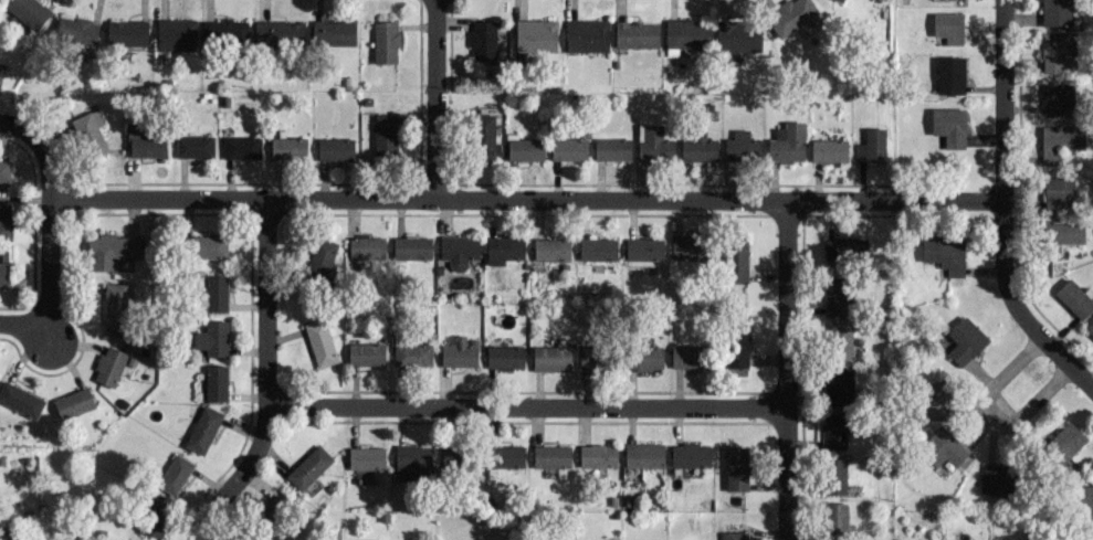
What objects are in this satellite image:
building: (841, 0)
building: (28, 11)
building: (1055, 12)
building: (794, 18)
building: (948, 27)
building: (76, 30)
building: (127, 32)
building: (278, 32)
building: (333, 32)
building: (223, 33)
building: (176, 34)
building: (535, 34)
building: (635, 34)
building: (685, 34)
building: (586, 35)
building: (736, 38)
building: (385, 41)
building: (482, 41)
building: (1057, 51)
building: (949, 74)
road: (434, 98)
building: (1059, 98)
building: (949, 126)
building: (90, 133)
building: (385, 134)
building: (483, 137)
building: (146, 140)
building: (1059, 141)
building: (653, 142)
building: (787, 142)
building: (871, 145)
building: (193, 146)
building: (742, 146)
building: (241, 147)
building: (287, 148)
building: (335, 148)
building: (568, 148)
building: (611, 148)
building: (698, 148)
building: (525, 149)
building: (828, 150)
building: (4, 170)
building: (1057, 191)
road: (473, 198)
road: (1000, 210)
building: (4, 219)
building: (1059, 236)
building: (206, 246)
building: (366, 247)
building: (411, 247)
building: (687, 247)
building: (844, 247)
building: (112, 248)
building: (504, 248)
building: (550, 248)
building: (597, 248)
building: (645, 248)
building: (458, 250)
building: (943, 252)
building: (322, 256)
building: (736, 260)
road: (46, 268)
building: (4, 273)
building: (216, 293)
building: (835, 295)
building: (1075, 297)
building: (115, 309)
road: (9, 320)
building: (1090, 326)
building: (212, 338)
building: (840, 340)
building: (965, 340)
building: (319, 342)
building: (736, 348)
building: (458, 352)
building: (366, 353)
building: (411, 353)
building: (686, 354)
building: (591, 356)
building: (504, 357)
road: (57, 358)
building: (550, 358)
building: (644, 358)
building: (108, 366)
road: (784, 369)
road: (264, 378)
building: (216, 382)
building: (839, 385)
building: (20, 399)
building: (931, 399)
building: (73, 402)
road: (524, 406)
road: (992, 412)
building: (202, 430)
building: (833, 430)
building: (1064, 442)
building: (943, 447)
building: (690, 454)
building: (551, 455)
building: (597, 455)
building: (643, 455)
building: (506, 456)
building: (366, 457)
building: (458, 458)
building: (413, 460)
building: (308, 467)
building: (736, 467)
building: (175, 474)
building: (834, 475)
building: (997, 478)
building: (1085, 498)
building: (273, 508)
building: (154, 517)
building: (834, 519)
building: (734, 534)
building: (379, 539)

